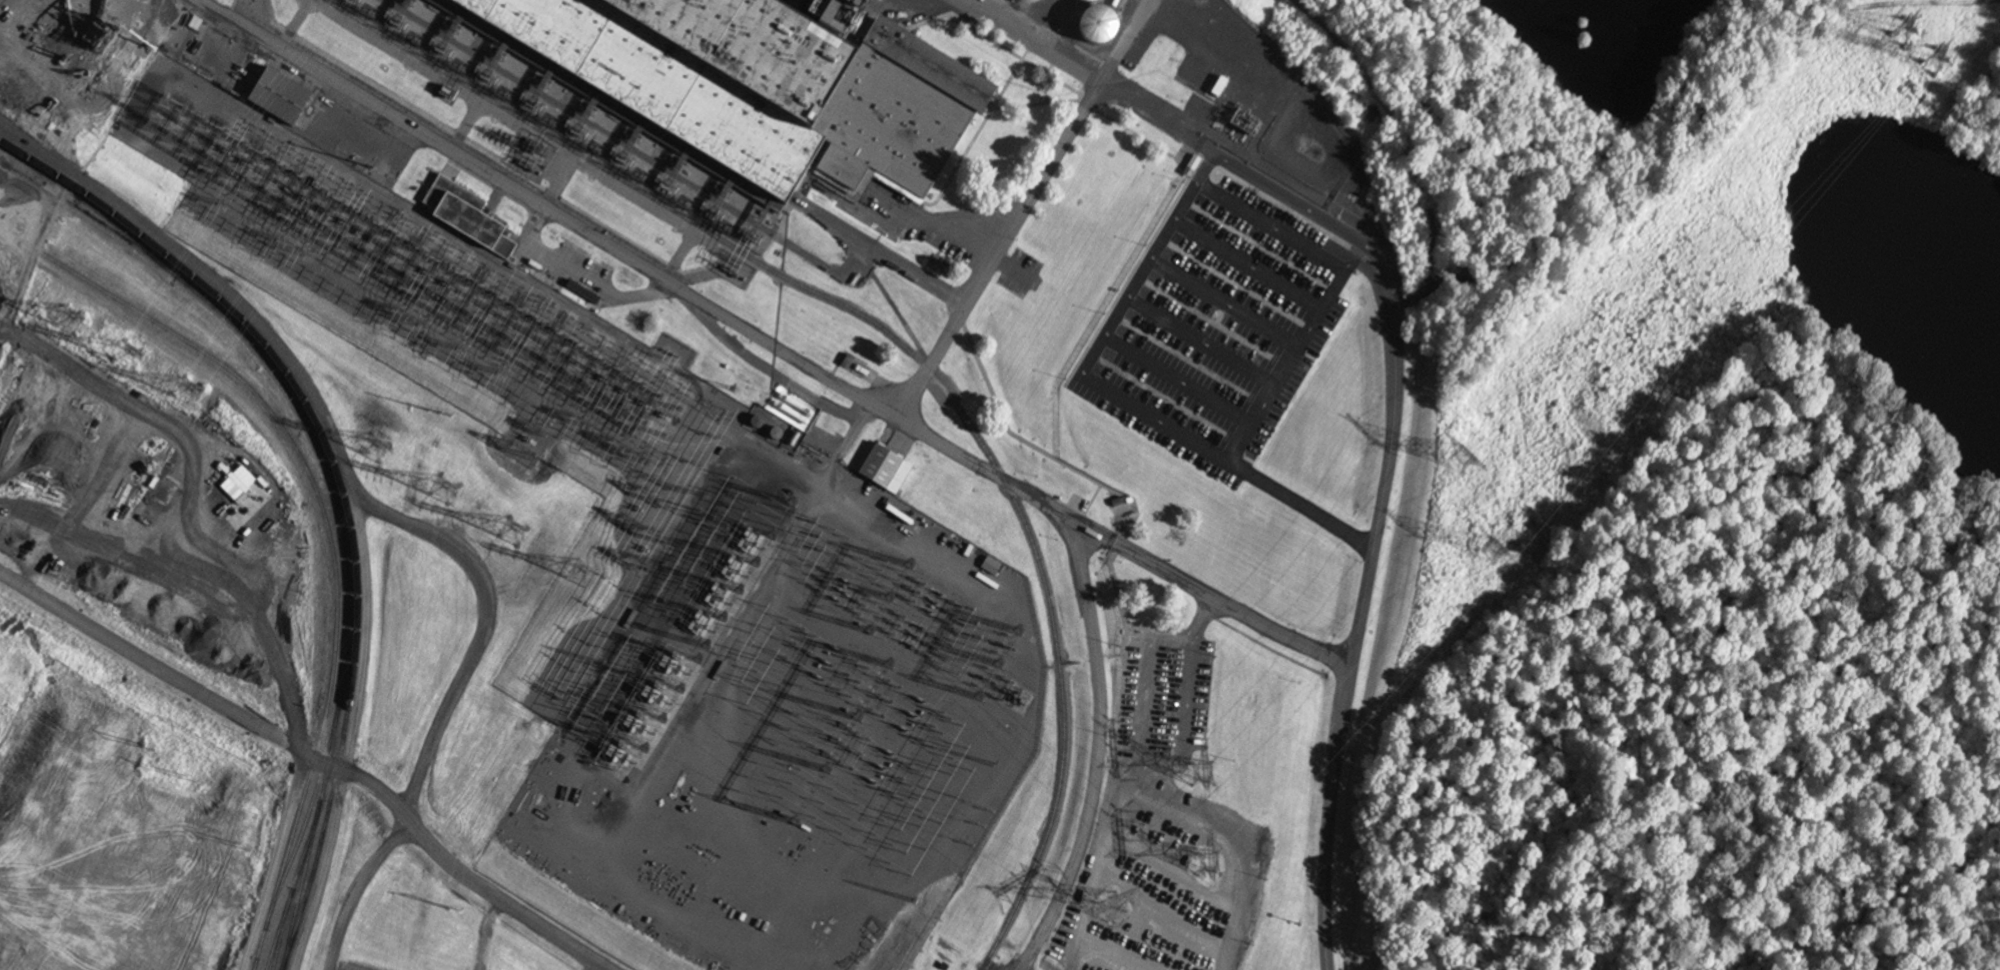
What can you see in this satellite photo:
building: (1098, 26)
building: (87, 33)
power tower: (1905, 33)
power tower: (1937, 65)
building: (756, 86)
building: (279, 98)
power plant: (757, 135)
building: (1, 199)
railway: (91, 205)
building: (462, 214)
road: (990, 265)
power tower: (70, 322)
railway: (235, 330)
railway: (907, 350)
power tower: (131, 357)
road: (841, 381)
building: (792, 409)
power tower: (195, 416)
power tower: (375, 450)
power tower: (1466, 469)
building: (885, 470)
railway: (340, 484)
power tower: (447, 492)
railway: (321, 505)
power tower: (513, 532)
power tower: (1490, 552)
power tower: (583, 575)
road: (1211, 595)
power substation: (681, 604)
road: (1365, 608)
power tower: (1015, 643)
railway: (349, 645)
railway: (344, 647)
power tower: (153, 748)
railway: (330, 752)
road: (315, 756)
power tower: (1208, 771)
power tower: (193, 779)
railway: (306, 817)
power tower: (1213, 863)
railway: (294, 884)
railway: (301, 885)
power tower: (1115, 909)
power tower: (457, 912)
railway: (279, 929)
railway: (259, 949)
railway: (256, 963)
power substation: (354, 967)

